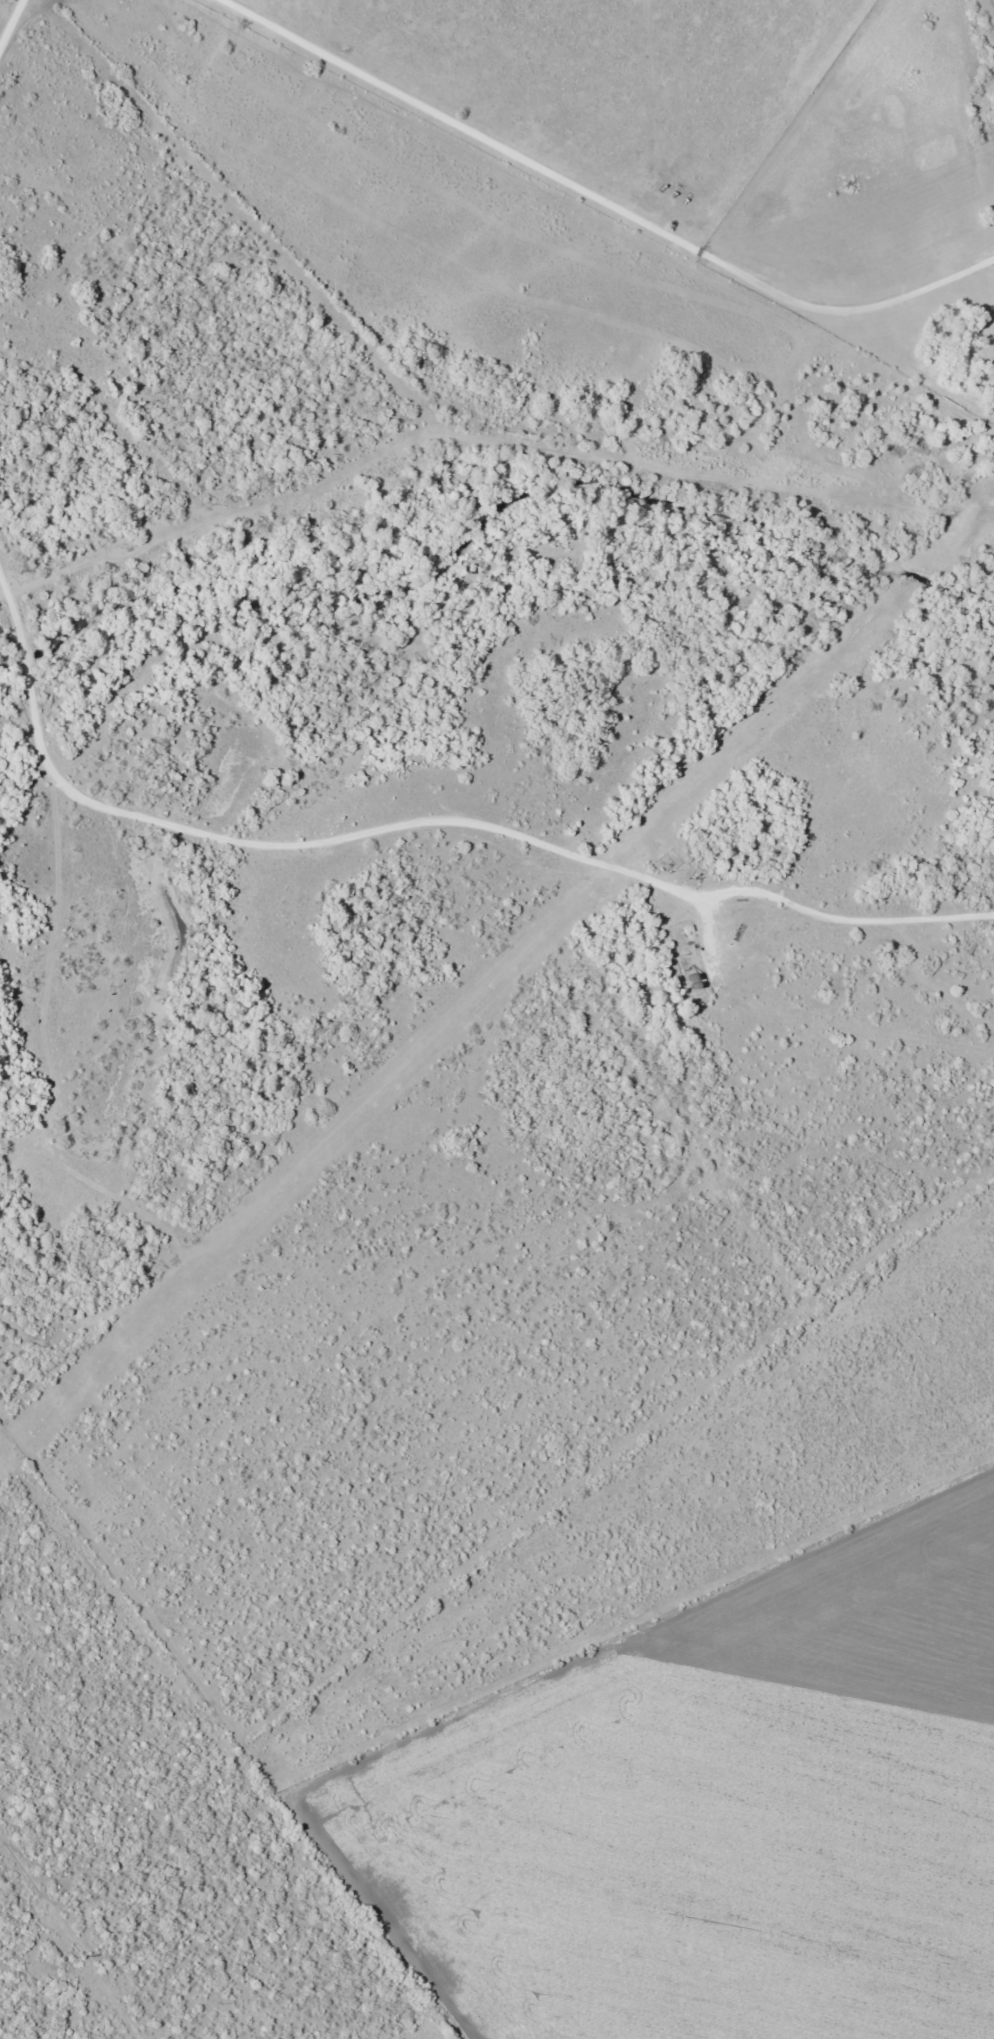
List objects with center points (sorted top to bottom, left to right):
road: (11, 22)
road: (597, 207)
road: (427, 819)

